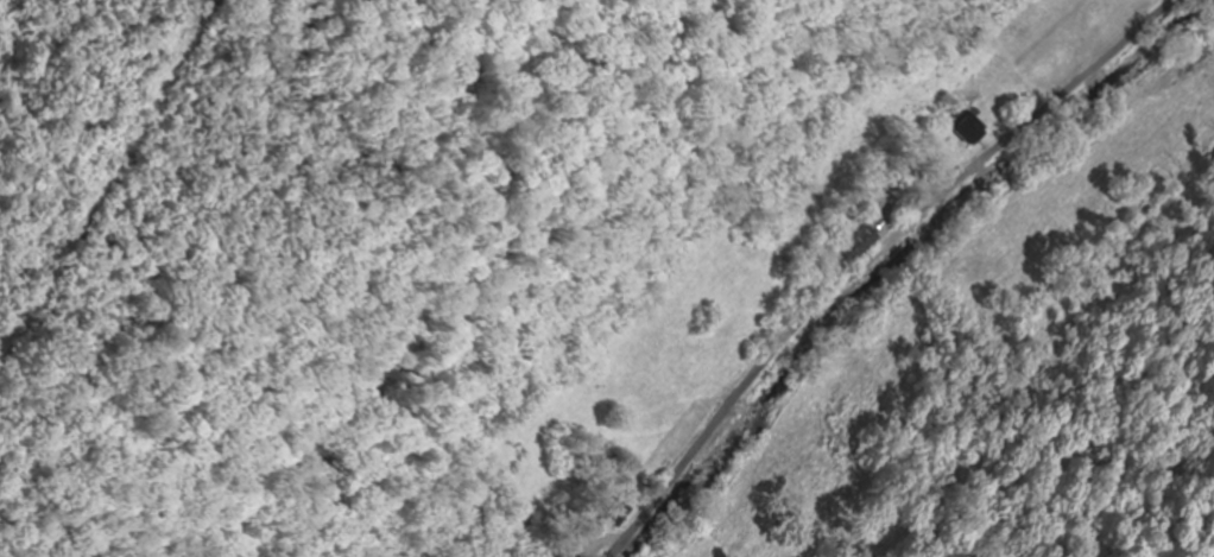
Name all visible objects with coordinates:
road: (870, 258)

